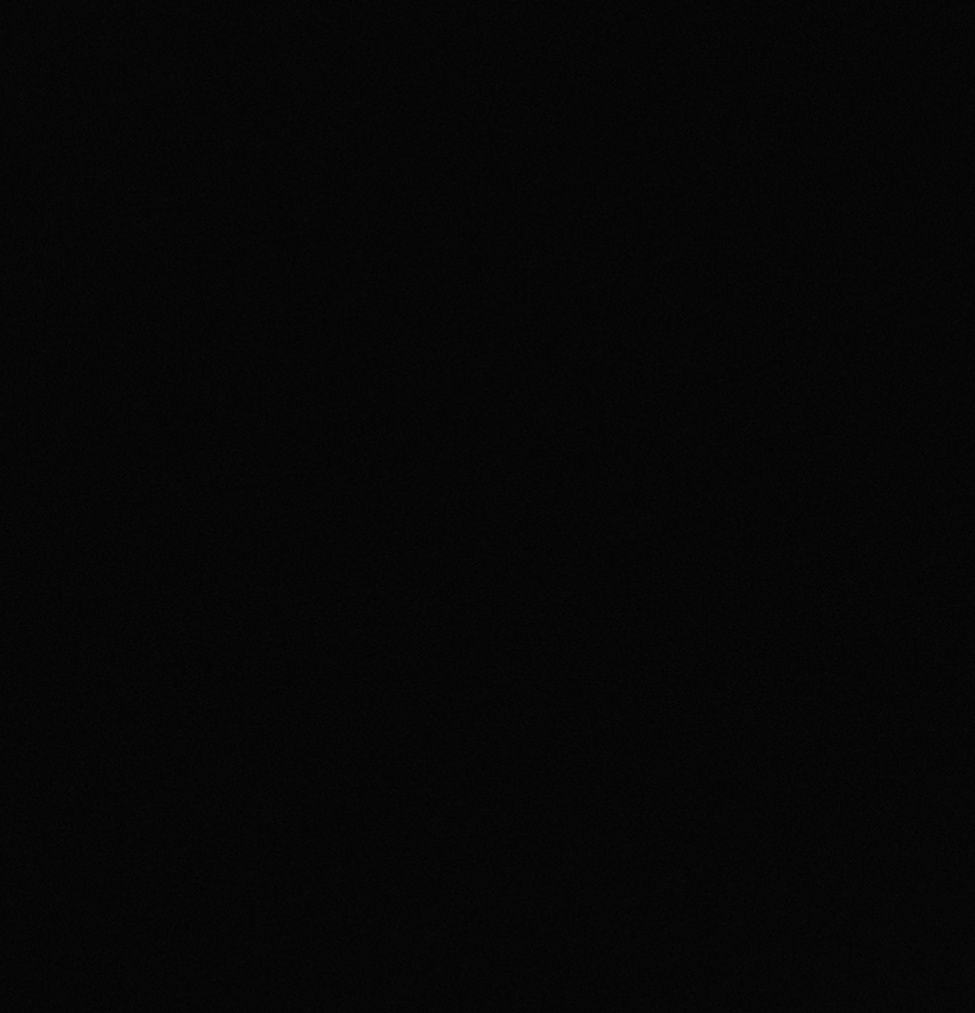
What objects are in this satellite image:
river: (382, 275)

